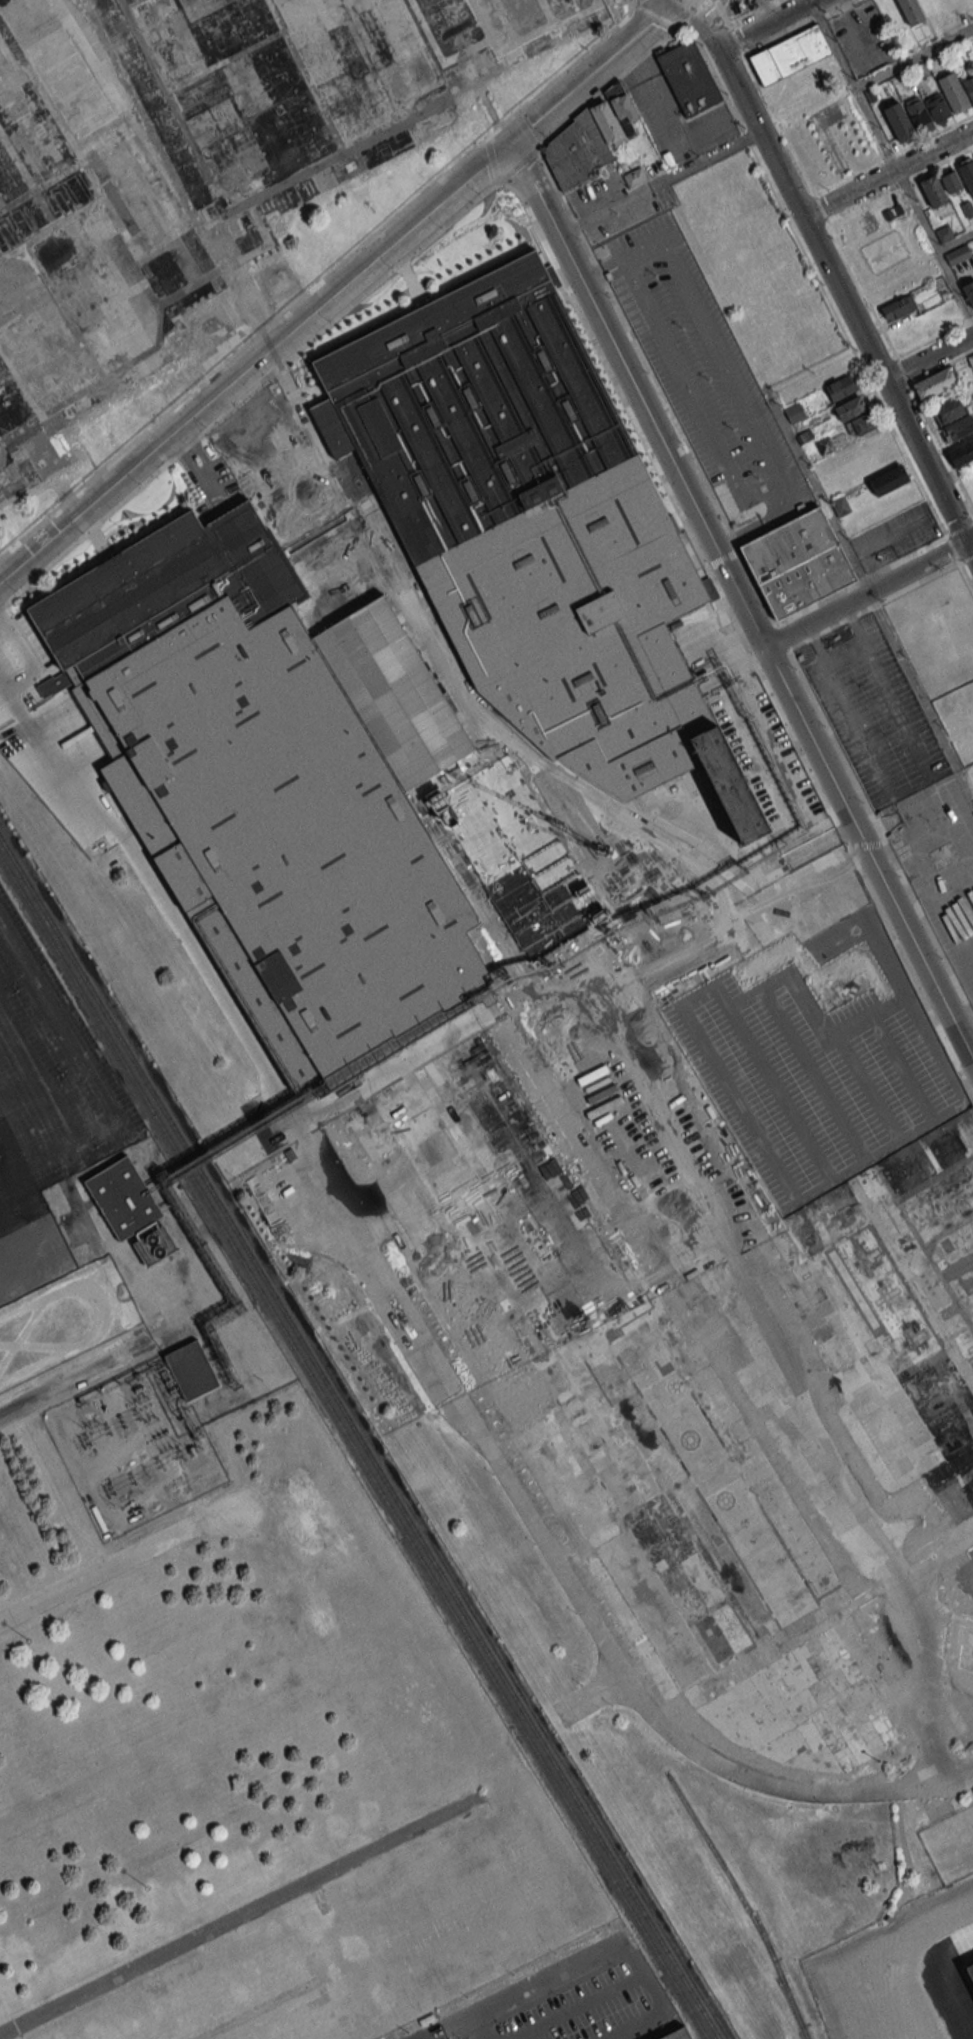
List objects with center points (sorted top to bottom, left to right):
building: (911, 11)
road: (751, 12)
road: (692, 14)
road: (654, 15)
road: (766, 24)
building: (214, 25)
road: (797, 27)
road: (691, 32)
building: (789, 54)
road: (914, 57)
road: (570, 65)
road: (593, 71)
building: (689, 77)
road: (609, 82)
building: (969, 87)
building: (954, 92)
building: (937, 108)
building: (261, 121)
building: (894, 123)
road: (669, 128)
building: (589, 140)
traffic signals: (510, 143)
road: (893, 153)
road: (521, 161)
road: (892, 163)
building: (967, 173)
road: (887, 174)
building: (634, 177)
road: (806, 178)
crop: (848, 180)
building: (949, 180)
road: (657, 182)
road: (900, 183)
building: (932, 190)
building: (967, 208)
building: (943, 233)
road: (955, 243)
building: (957, 255)
road: (831, 274)
road: (822, 289)
building: (968, 291)
building: (898, 308)
road: (934, 337)
road: (250, 341)
road: (928, 358)
building: (971, 359)
road: (254, 362)
road: (941, 367)
building: (935, 383)
building: (841, 387)
road: (248, 394)
building: (948, 409)
building: (794, 412)
building: (855, 416)
building: (958, 429)
road: (934, 433)
building: (961, 453)
road: (767, 460)
road: (699, 471)
building: (889, 480)
road: (672, 497)
building: (840, 505)
road: (759, 525)
building: (533, 529)
road: (958, 530)
road: (969, 541)
road: (965, 559)
building: (797, 562)
road: (966, 577)
road: (864, 594)
road: (741, 603)
road: (873, 606)
road: (845, 653)
road: (920, 697)
road: (45, 760)
building: (276, 786)
road: (912, 789)
road: (881, 833)
building: (517, 857)
building: (670, 874)
railway: (66, 948)
building: (30, 958)
road: (905, 959)
building: (13, 1043)
road: (98, 1090)
parking lot: (47, 1107)
building: (123, 1198)
building: (151, 1246)
road: (107, 1371)
building: (191, 1372)
road: (76, 1376)
road: (116, 1391)
road: (51, 1399)
power substation: (139, 1441)
railway: (353, 1447)
road: (115, 1461)
road: (85, 1472)
road: (161, 1494)
railway: (426, 1548)
road: (114, 1549)
road: (95, 1573)
building: (708, 1580)
road: (589, 1620)
road: (237, 1915)
building: (969, 1972)
parking lot: (872, 1988)
road: (523, 1989)
road: (590, 1999)
road: (479, 2027)
road: (437, 2036)
building: (677, 2037)

